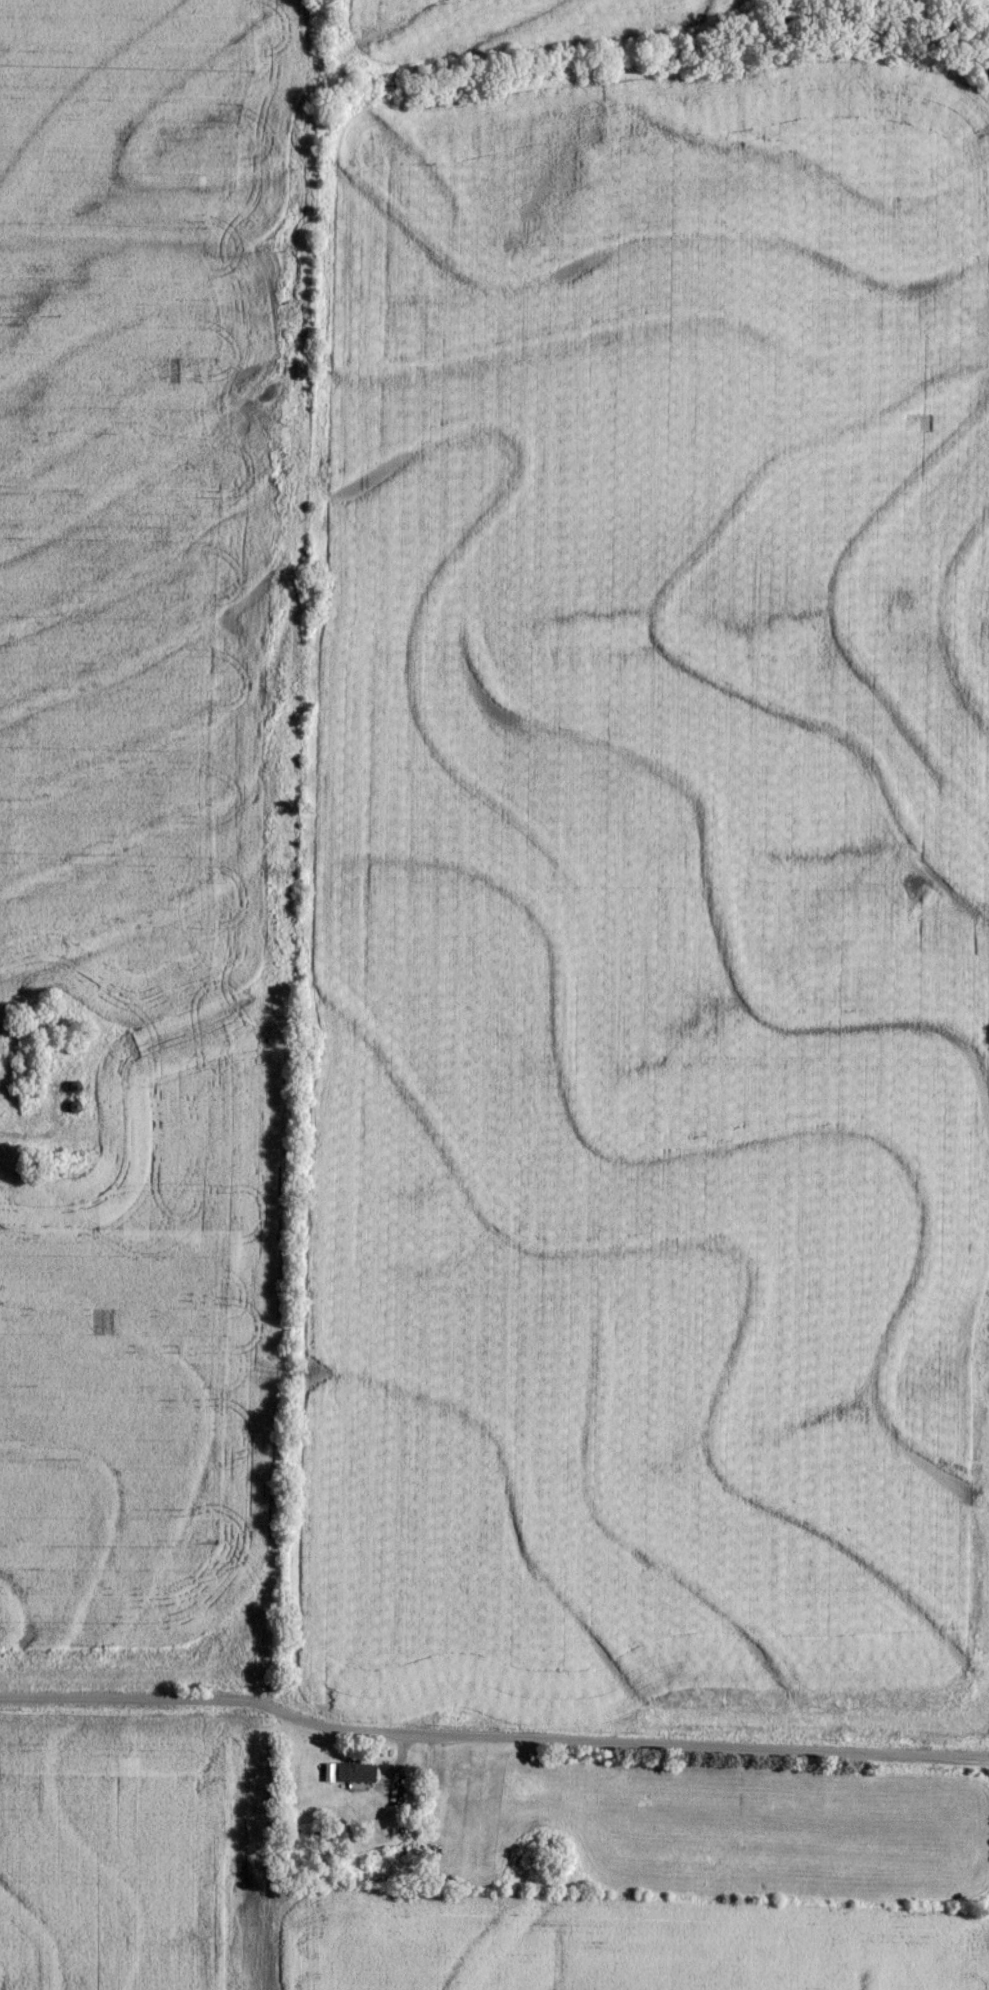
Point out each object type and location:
crop: (961, 1)
crop: (507, 25)
road: (311, 1675)
road: (491, 1741)
building: (354, 1772)
building: (410, 1805)
building: (502, 1828)
crop: (604, 1943)

